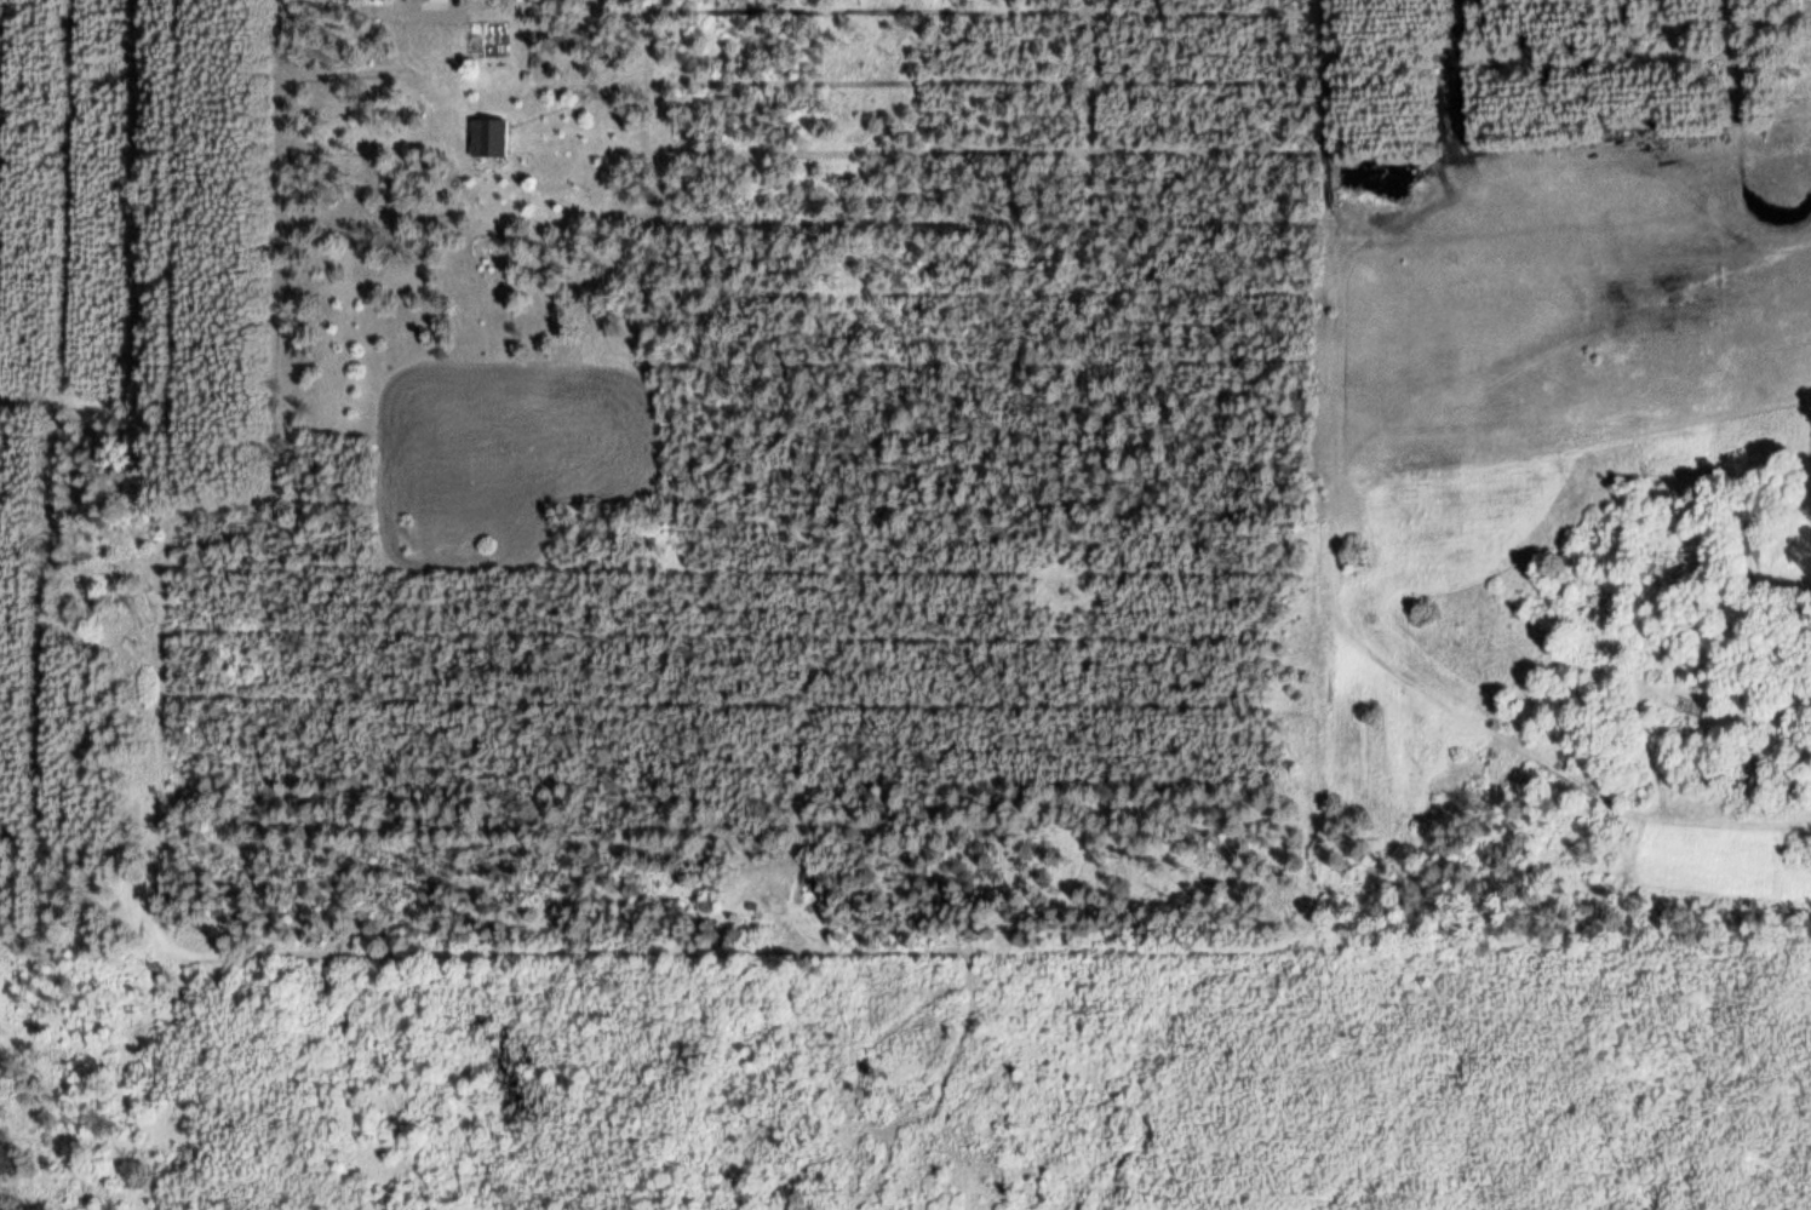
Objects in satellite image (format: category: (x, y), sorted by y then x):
building: (488, 137)
road: (74, 235)

